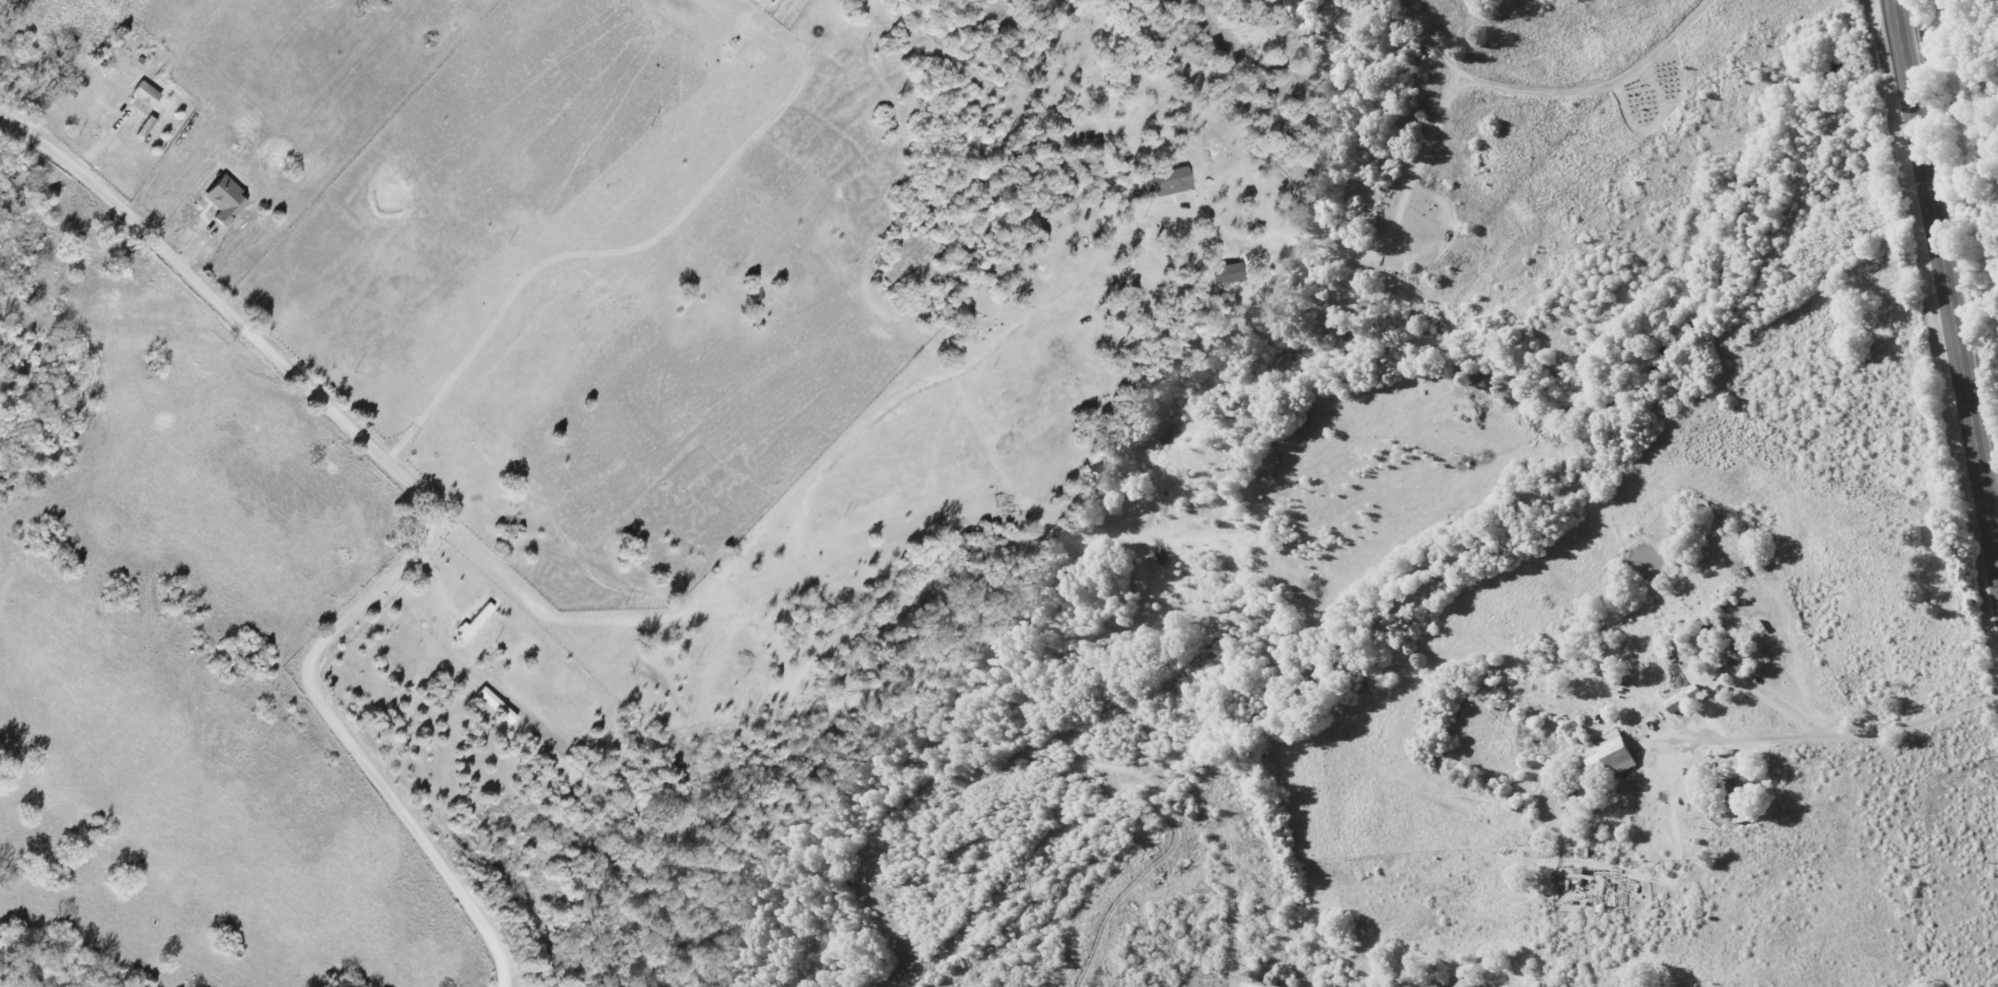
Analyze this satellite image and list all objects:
road: (1558, 90)
building: (151, 120)
building: (1169, 183)
building: (226, 200)
road: (1369, 249)
road: (1943, 285)
road: (432, 509)
building: (476, 622)
building: (1707, 632)
building: (1739, 657)
road: (486, 680)
building: (1685, 700)
building: (496, 706)
road: (1714, 708)
road: (1913, 723)
building: (1612, 755)
building: (1742, 785)
building: (1251, 985)

